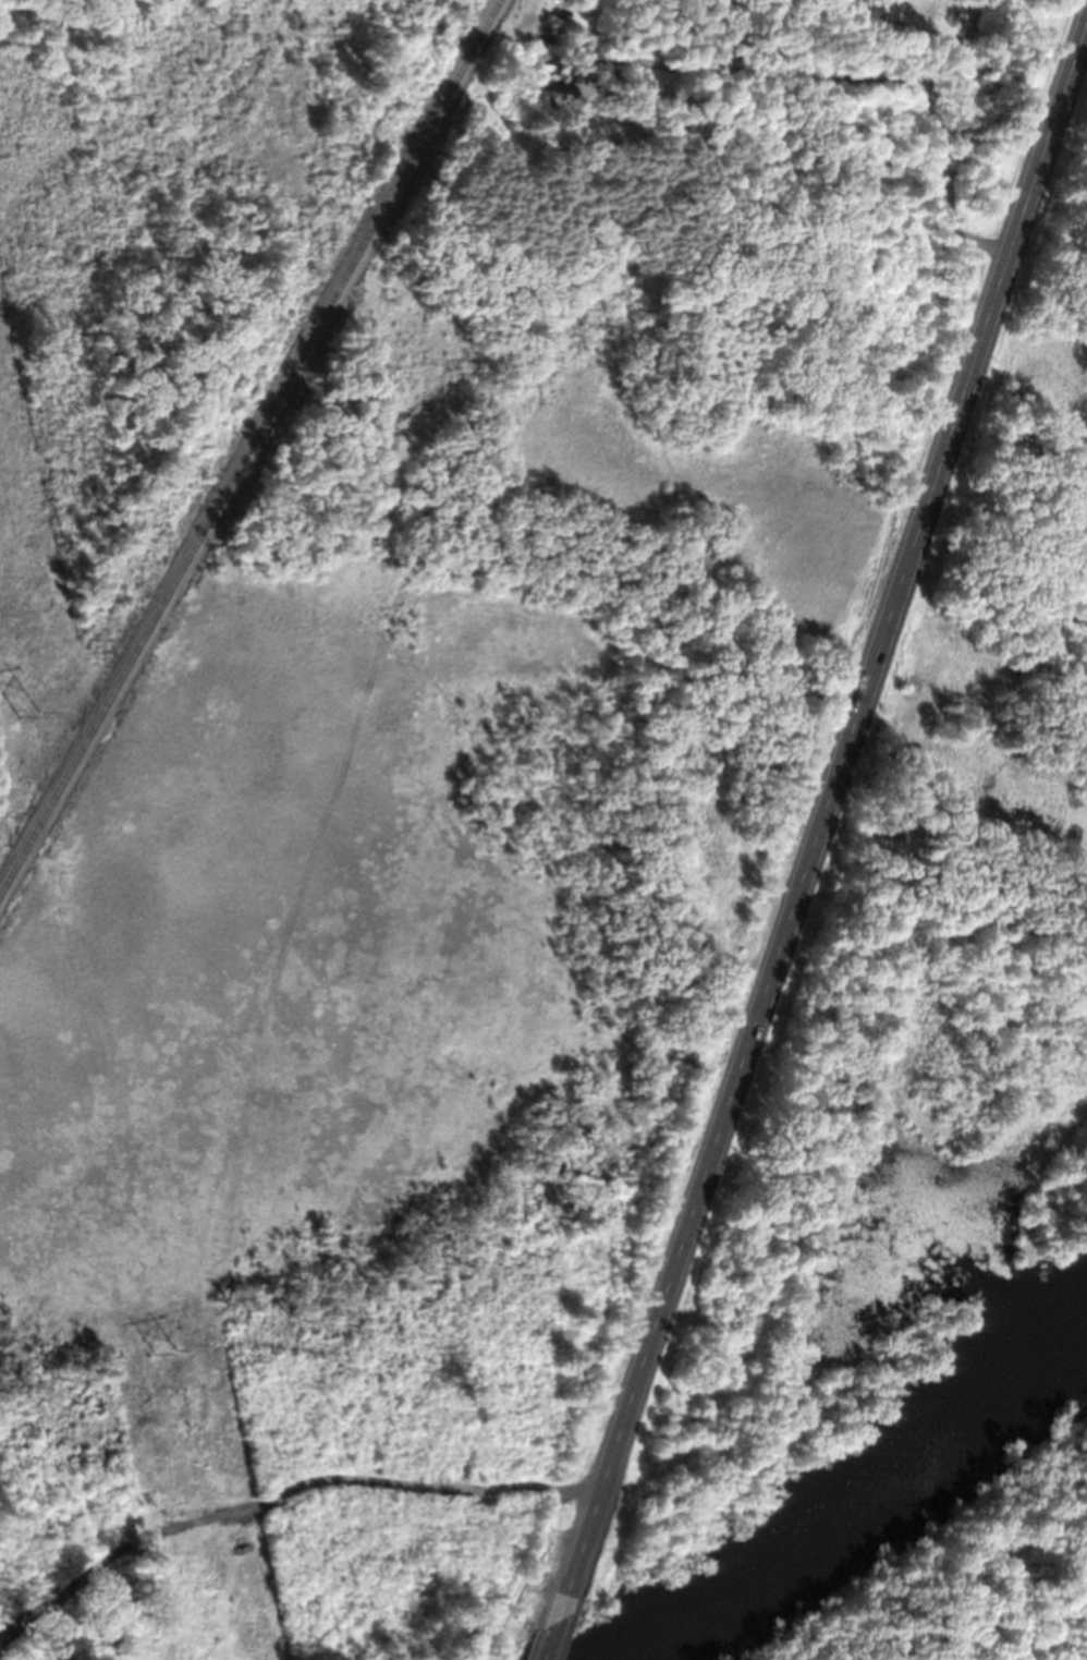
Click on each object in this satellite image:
railway: (249, 447)
power tower: (26, 713)
road: (820, 820)
power tower: (164, 1353)
river: (870, 1492)
road: (548, 1639)

